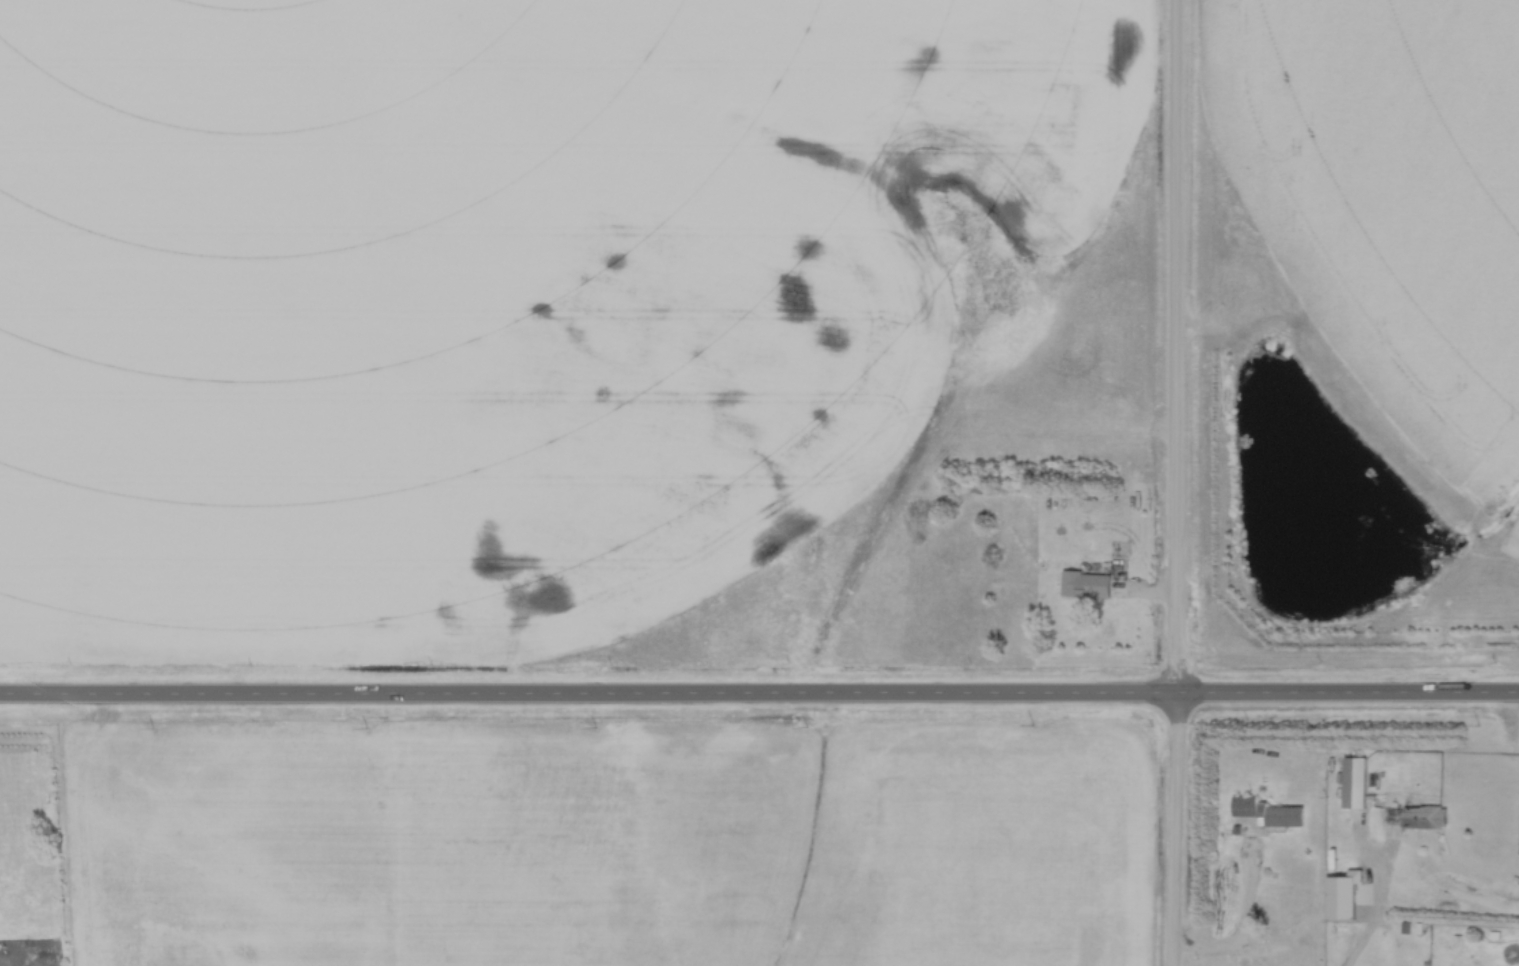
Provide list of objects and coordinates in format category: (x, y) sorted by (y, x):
road: (1180, 483)
building: (1087, 585)
road: (759, 691)
building: (1355, 784)
building: (1245, 807)
building: (1285, 817)
building: (1416, 818)
road: (1363, 905)
road: (1247, 931)

